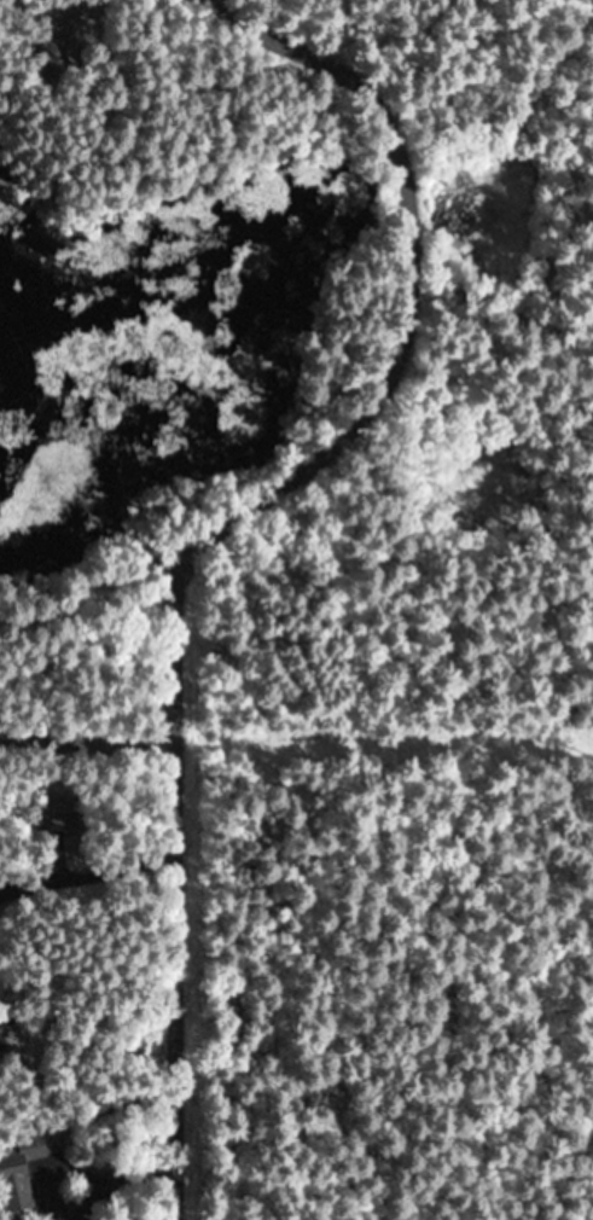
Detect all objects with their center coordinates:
road: (383, 352)
road: (85, 719)
road: (171, 965)
building: (22, 1163)

